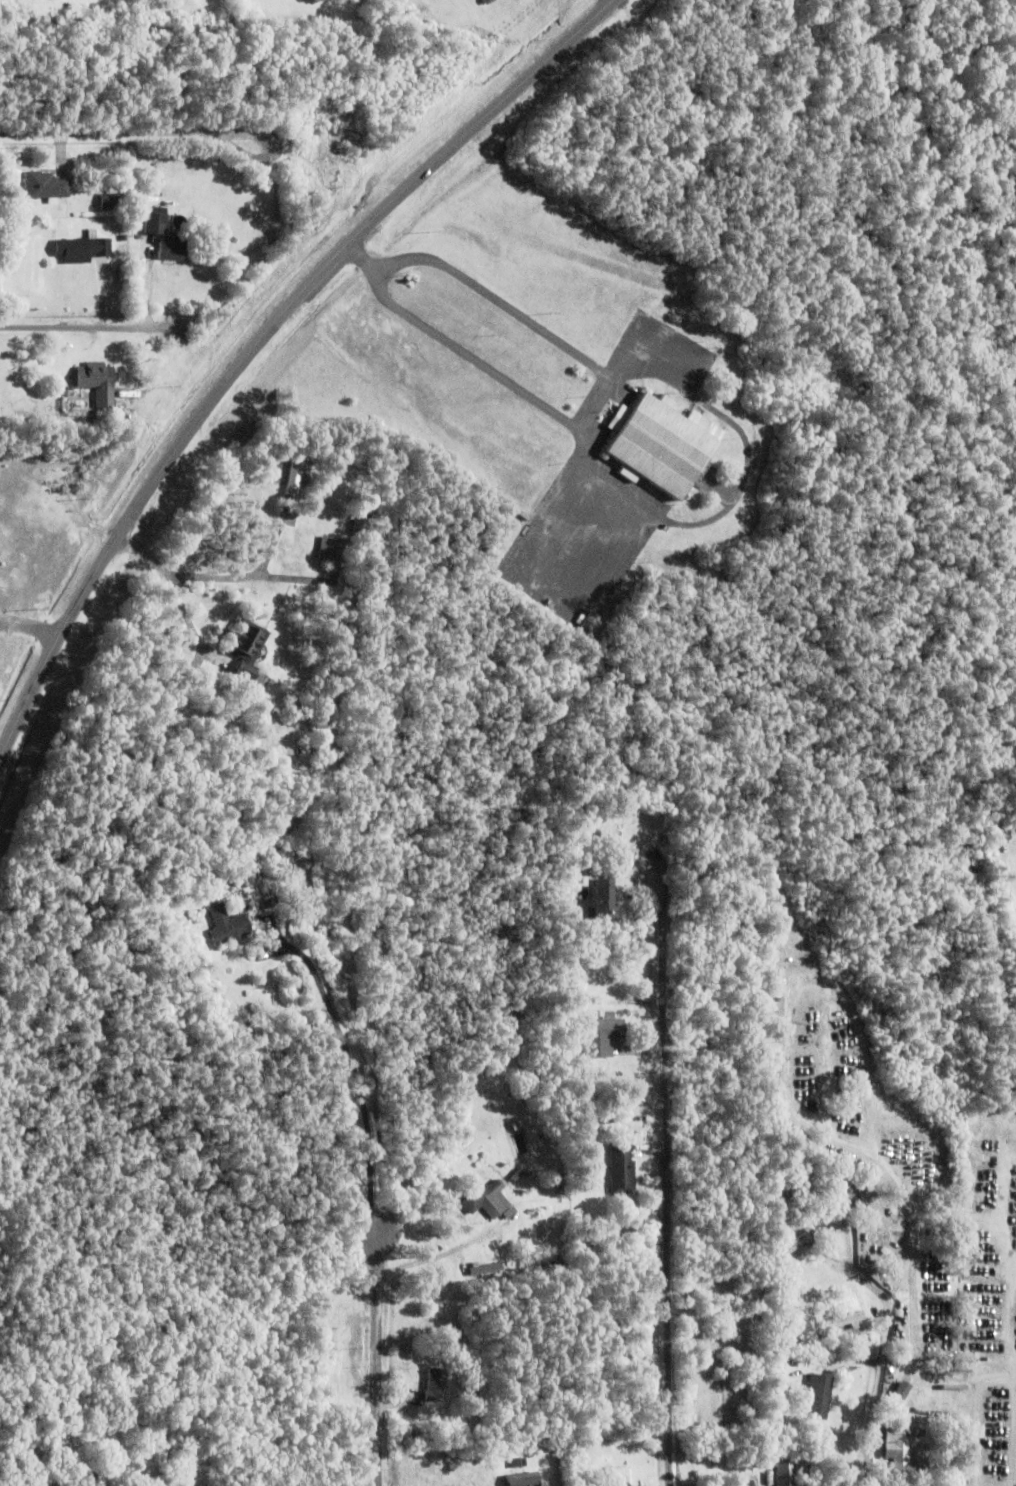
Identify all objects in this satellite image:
building: (116, 6)
road: (137, 132)
building: (46, 185)
building: (109, 201)
building: (155, 220)
building: (172, 247)
building: (81, 248)
road: (360, 261)
road: (501, 307)
road: (93, 328)
road: (258, 346)
road: (466, 361)
building: (97, 381)
road: (595, 408)
building: (660, 442)
building: (293, 476)
building: (359, 523)
building: (518, 536)
building: (332, 549)
road: (212, 577)
road: (562, 594)
road: (186, 618)
road: (33, 625)
building: (245, 641)
building: (243, 672)
building: (633, 831)
building: (249, 878)
building: (598, 899)
building: (269, 903)
building: (226, 926)
building: (712, 1025)
building: (602, 1038)
road: (358, 1089)
building: (585, 1111)
building: (517, 1126)
building: (639, 1139)
building: (641, 1148)
building: (620, 1171)
building: (516, 1176)
building: (824, 1179)
building: (563, 1185)
building: (484, 1200)
road: (666, 1201)
building: (508, 1213)
building: (877, 1215)
building: (582, 1228)
building: (798, 1244)
road: (431, 1262)
building: (485, 1276)
building: (844, 1323)
building: (335, 1346)
road: (377, 1353)
building: (811, 1359)
building: (434, 1387)
building: (898, 1397)
building: (817, 1398)
building: (919, 1434)
building: (902, 1458)
building: (516, 1464)
building: (784, 1472)
building: (618, 1477)
building: (521, 1480)
building: (745, 1484)

